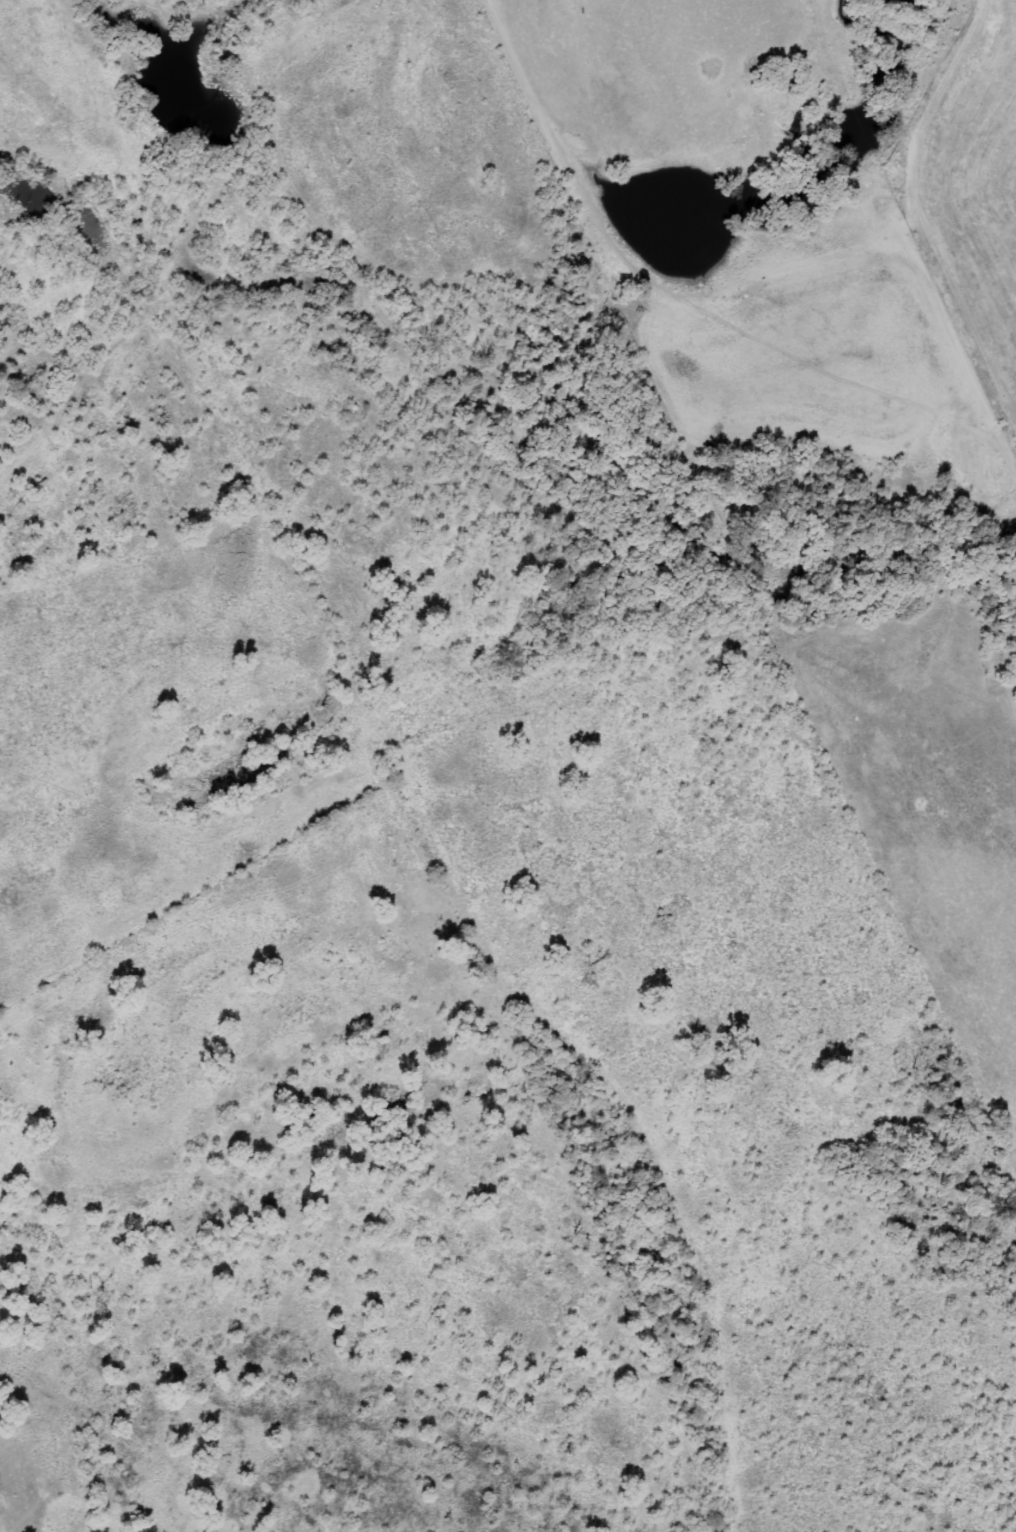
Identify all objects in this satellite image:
road: (326, 376)

